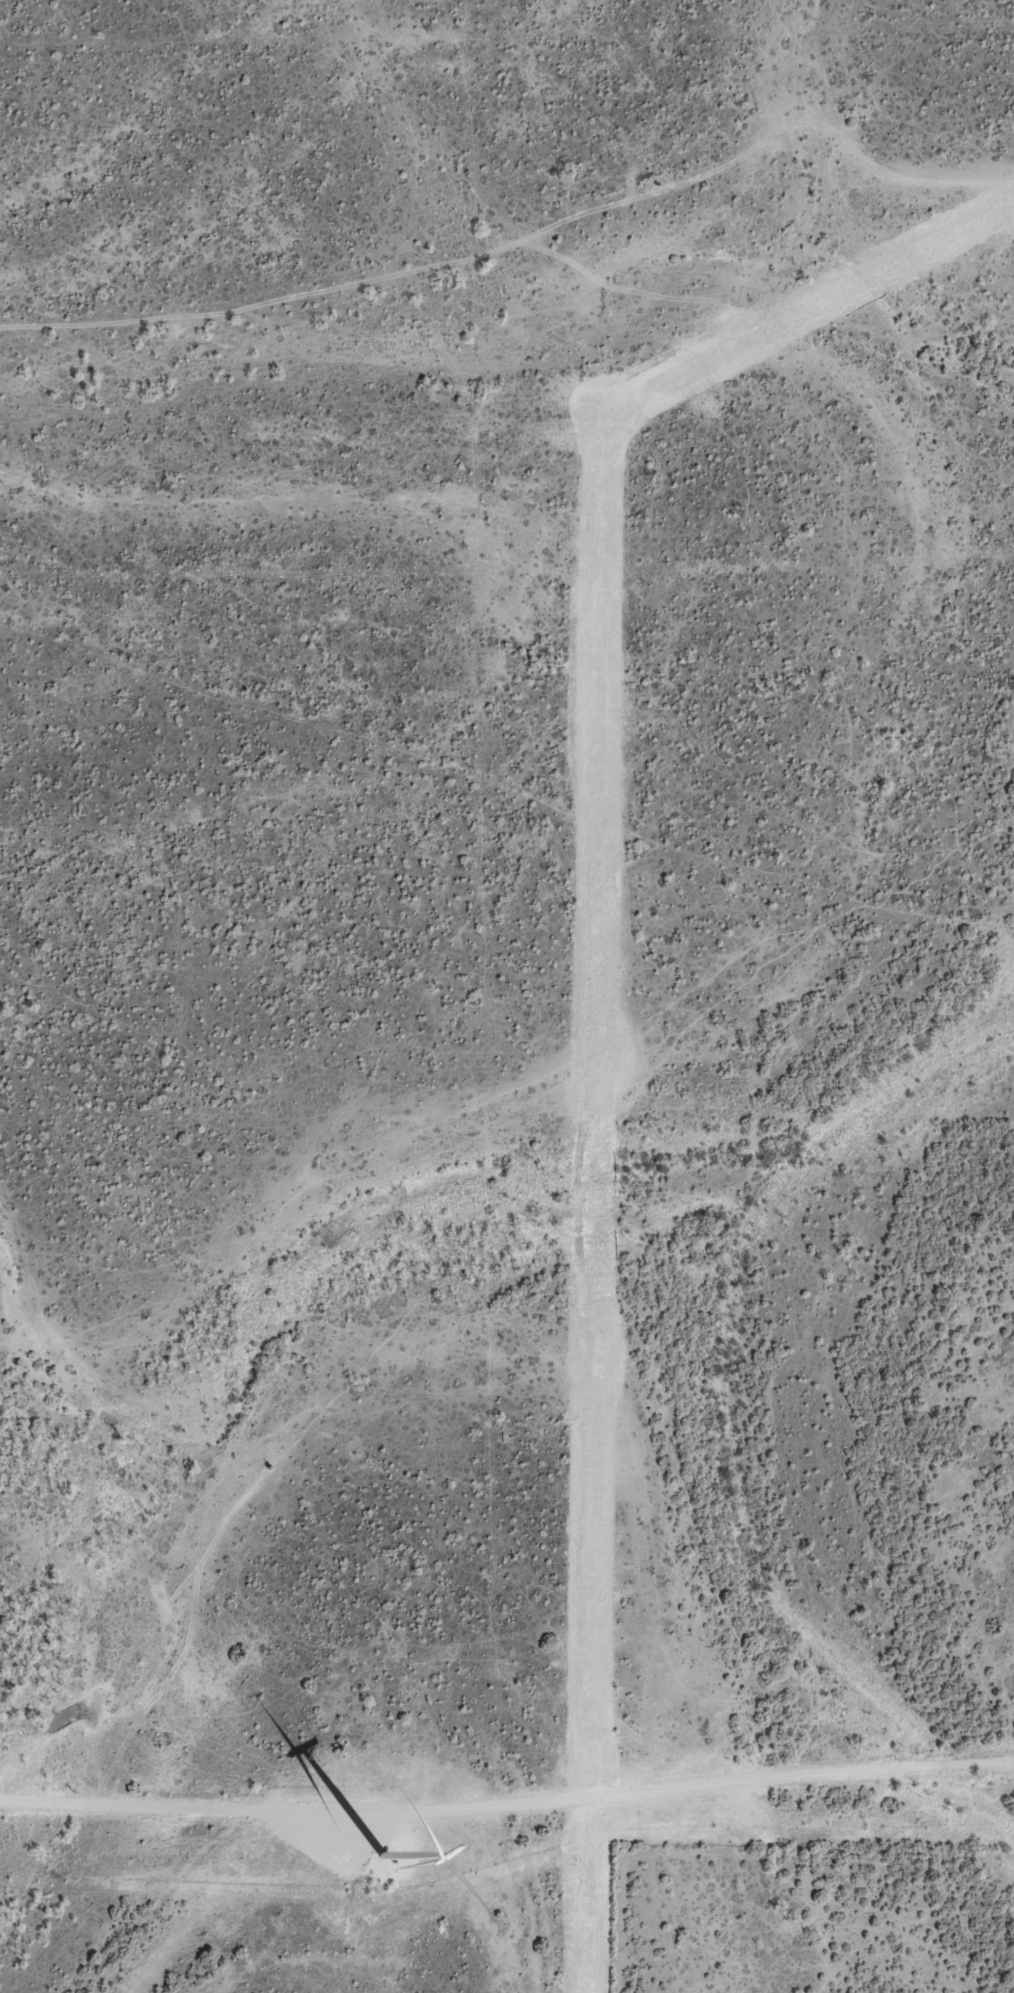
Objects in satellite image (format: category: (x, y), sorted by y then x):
wind turbine: (370, 1820)

